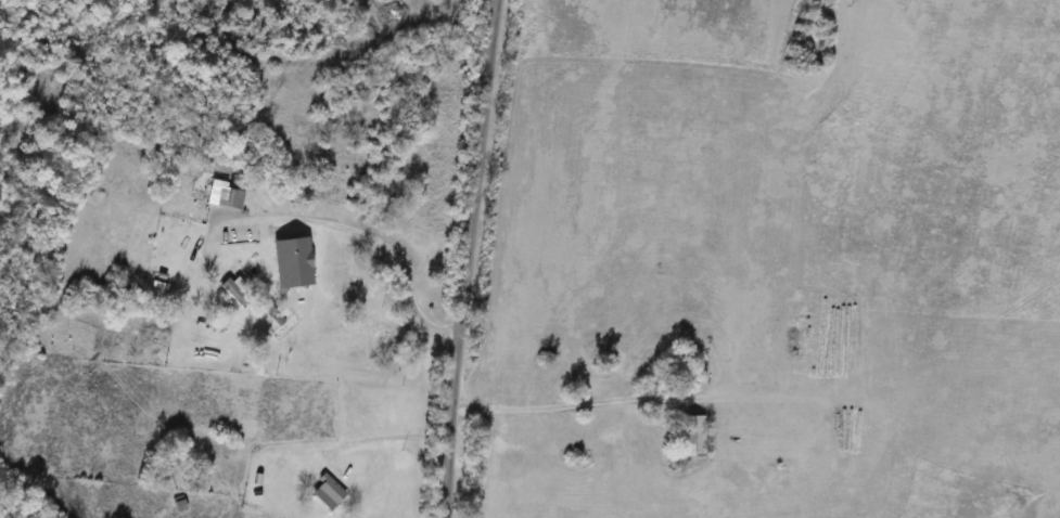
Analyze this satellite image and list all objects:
building: (224, 197)
road: (347, 224)
road: (467, 258)
road: (379, 436)
building: (687, 437)
building: (322, 492)

